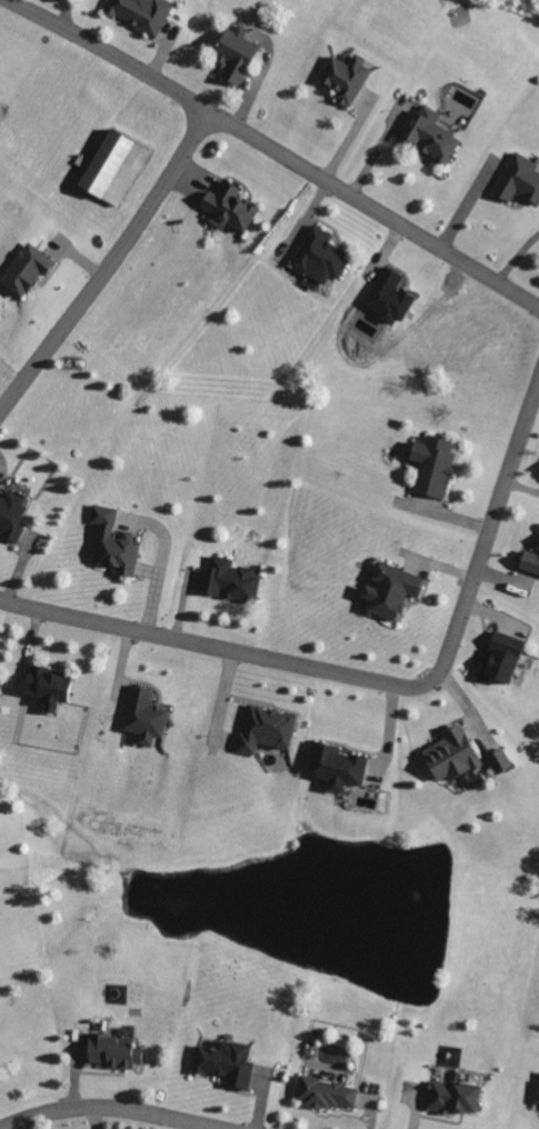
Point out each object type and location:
building: (140, 14)
building: (236, 58)
building: (345, 81)
building: (429, 137)
building: (113, 171)
road: (177, 174)
building: (518, 182)
building: (228, 211)
road: (376, 217)
building: (318, 260)
building: (24, 273)
building: (388, 300)
building: (432, 469)
building: (11, 519)
building: (113, 547)
building: (530, 566)
building: (229, 585)
building: (389, 593)
building: (501, 661)
road: (373, 689)
building: (48, 691)
building: (143, 720)
building: (264, 733)
building: (451, 759)
building: (499, 765)
building: (335, 770)
building: (114, 1053)
building: (224, 1066)
building: (326, 1096)
building: (452, 1099)
building: (538, 1102)
road: (108, 1113)

